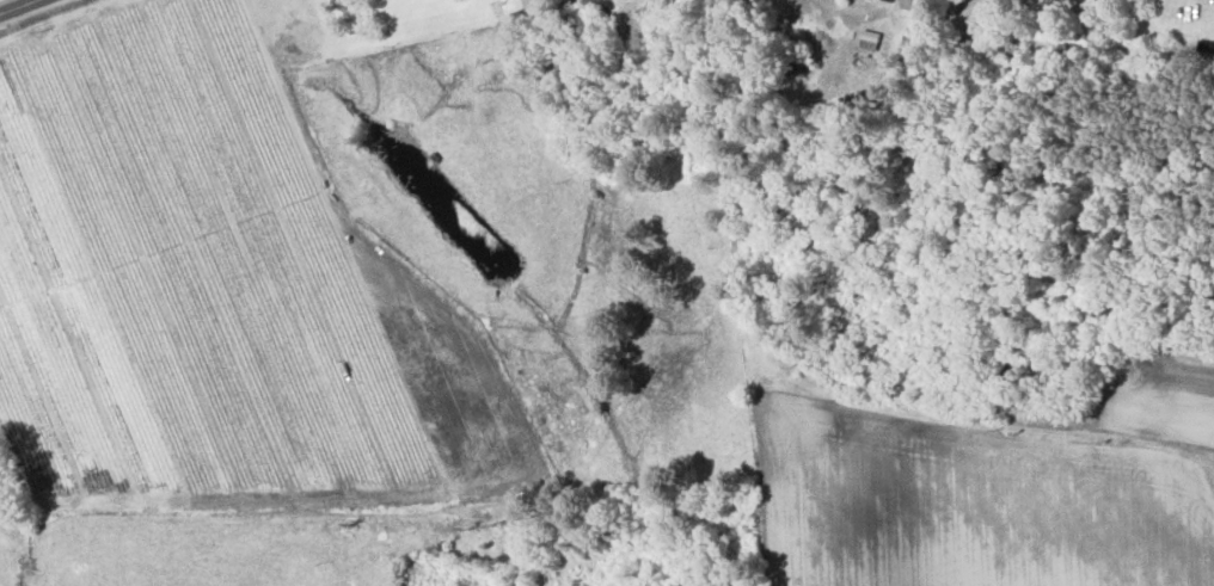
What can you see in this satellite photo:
building: (1084, 0)
building: (521, 5)
road: (20, 7)
road: (259, 556)

